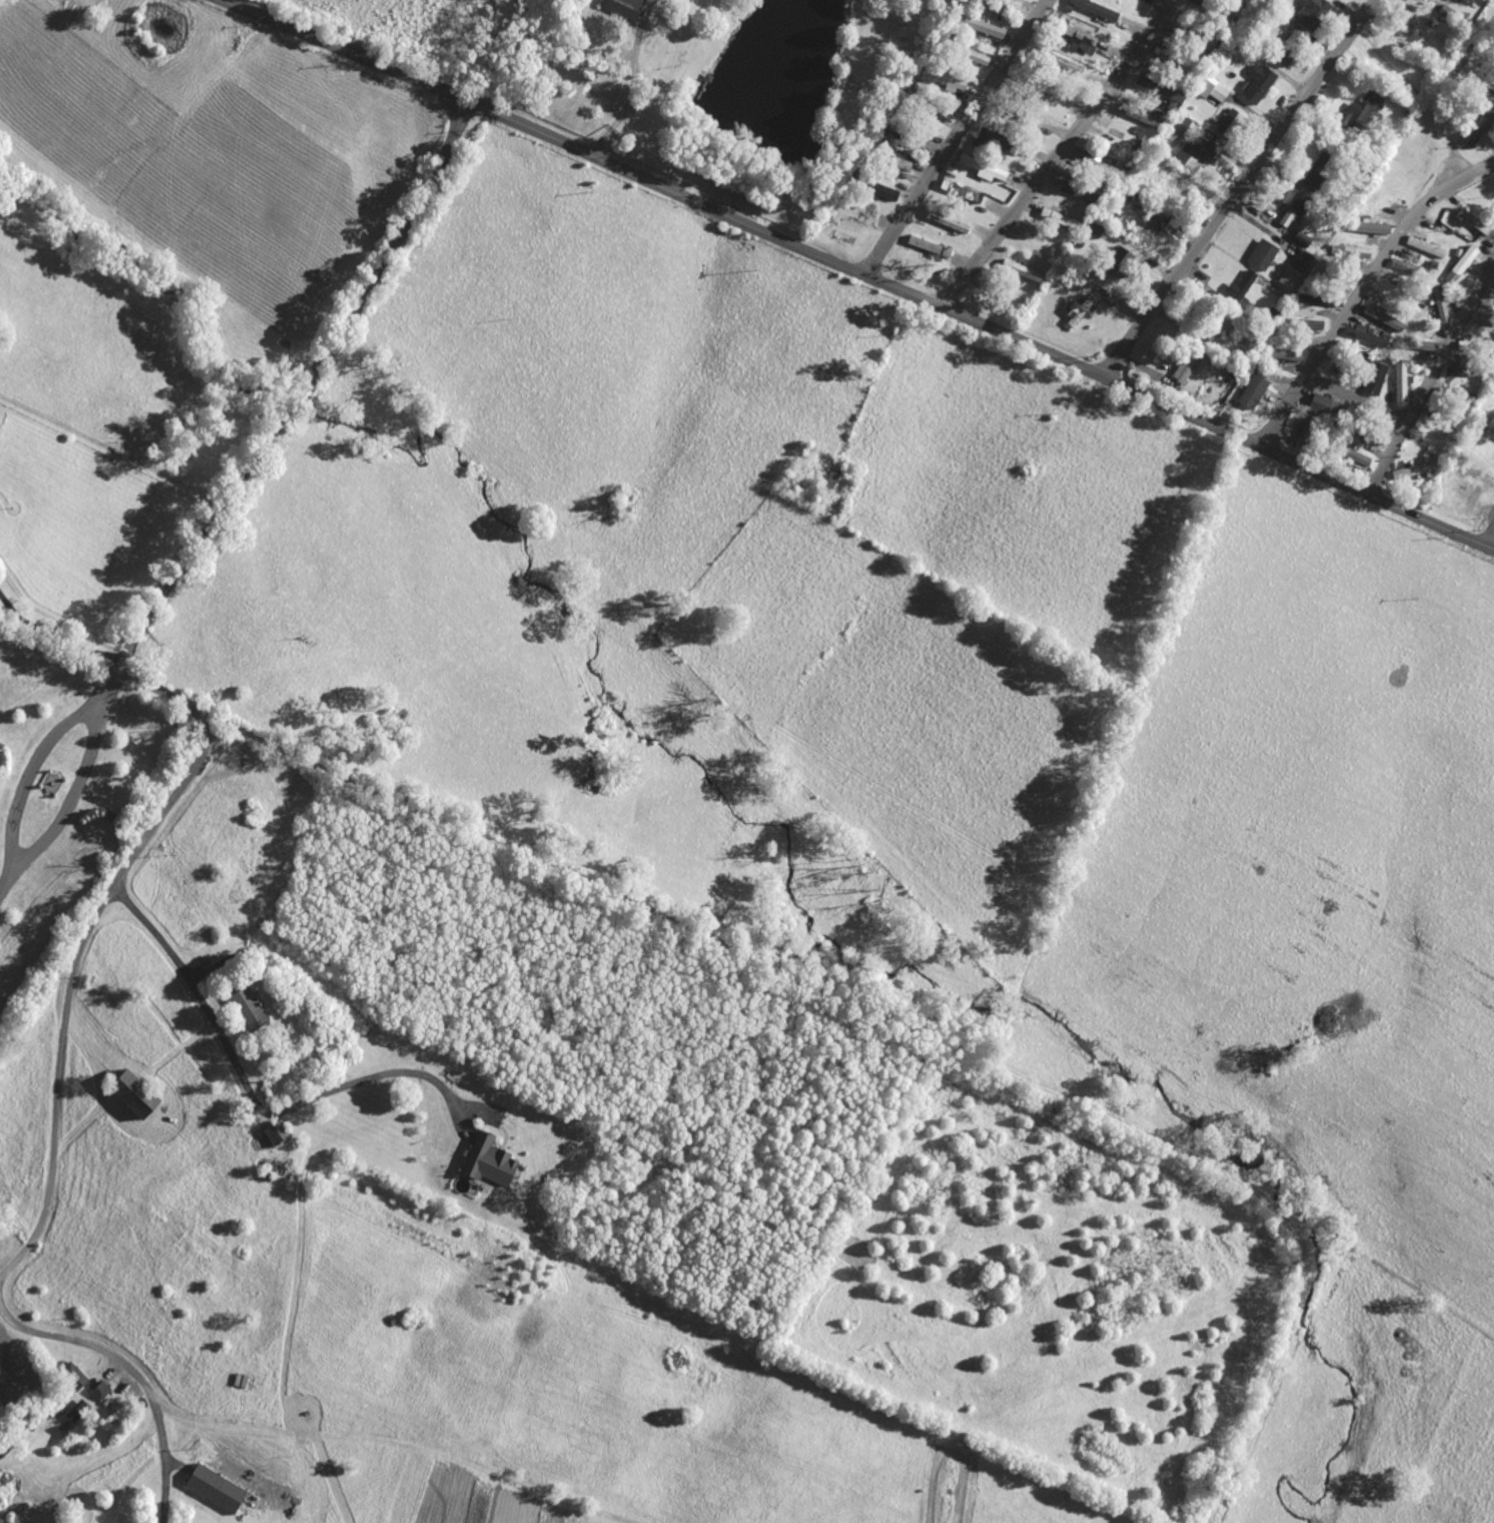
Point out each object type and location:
building: (1467, 0)
building: (623, 7)
building: (1096, 9)
building: (1309, 12)
building: (980, 25)
building: (1080, 38)
building: (1288, 47)
building: (1058, 62)
building: (1478, 74)
building: (945, 79)
road: (631, 82)
building: (1256, 82)
building: (1159, 87)
building: (1211, 89)
building: (942, 111)
building: (1362, 111)
road: (971, 121)
building: (1152, 121)
building: (1229, 122)
building: (1180, 124)
building: (1479, 128)
building: (995, 139)
road: (1058, 153)
building: (1195, 153)
building: (897, 161)
building: (1103, 166)
building: (984, 168)
road: (1239, 187)
building: (880, 189)
building: (1078, 190)
building: (961, 191)
building: (1293, 207)
building: (1058, 217)
building: (947, 221)
building: (1369, 227)
building: (1096, 230)
building: (1148, 230)
building: (1301, 238)
building: (929, 245)
building: (1425, 246)
building: (1350, 251)
building: (1262, 254)
road: (877, 258)
building: (1302, 259)
building: (1119, 261)
building: (1403, 265)
road: (859, 274)
building: (1290, 276)
building: (1240, 288)
road: (1362, 290)
building: (1491, 292)
building: (1313, 299)
building: (1441, 306)
building: (1077, 309)
building: (1221, 323)
building: (1310, 324)
building: (1365, 335)
building: (1491, 346)
building: (1187, 364)
building: (1374, 378)
road: (1431, 379)
building: (1401, 381)
building: (1253, 391)
road: (1355, 399)
building: (1319, 402)
road: (280, 425)
building: (1361, 459)
building: (1413, 469)
road: (1491, 542)
road: (55, 637)
road: (112, 679)
road: (31, 770)
road: (75, 792)
road: (9, 877)
road: (69, 984)
building: (248, 1008)
road: (900, 1019)
road: (249, 1092)
building: (134, 1093)
building: (276, 1132)
building: (488, 1160)
road: (136, 1370)
building: (73, 1375)
building: (100, 1390)
building: (215, 1488)

